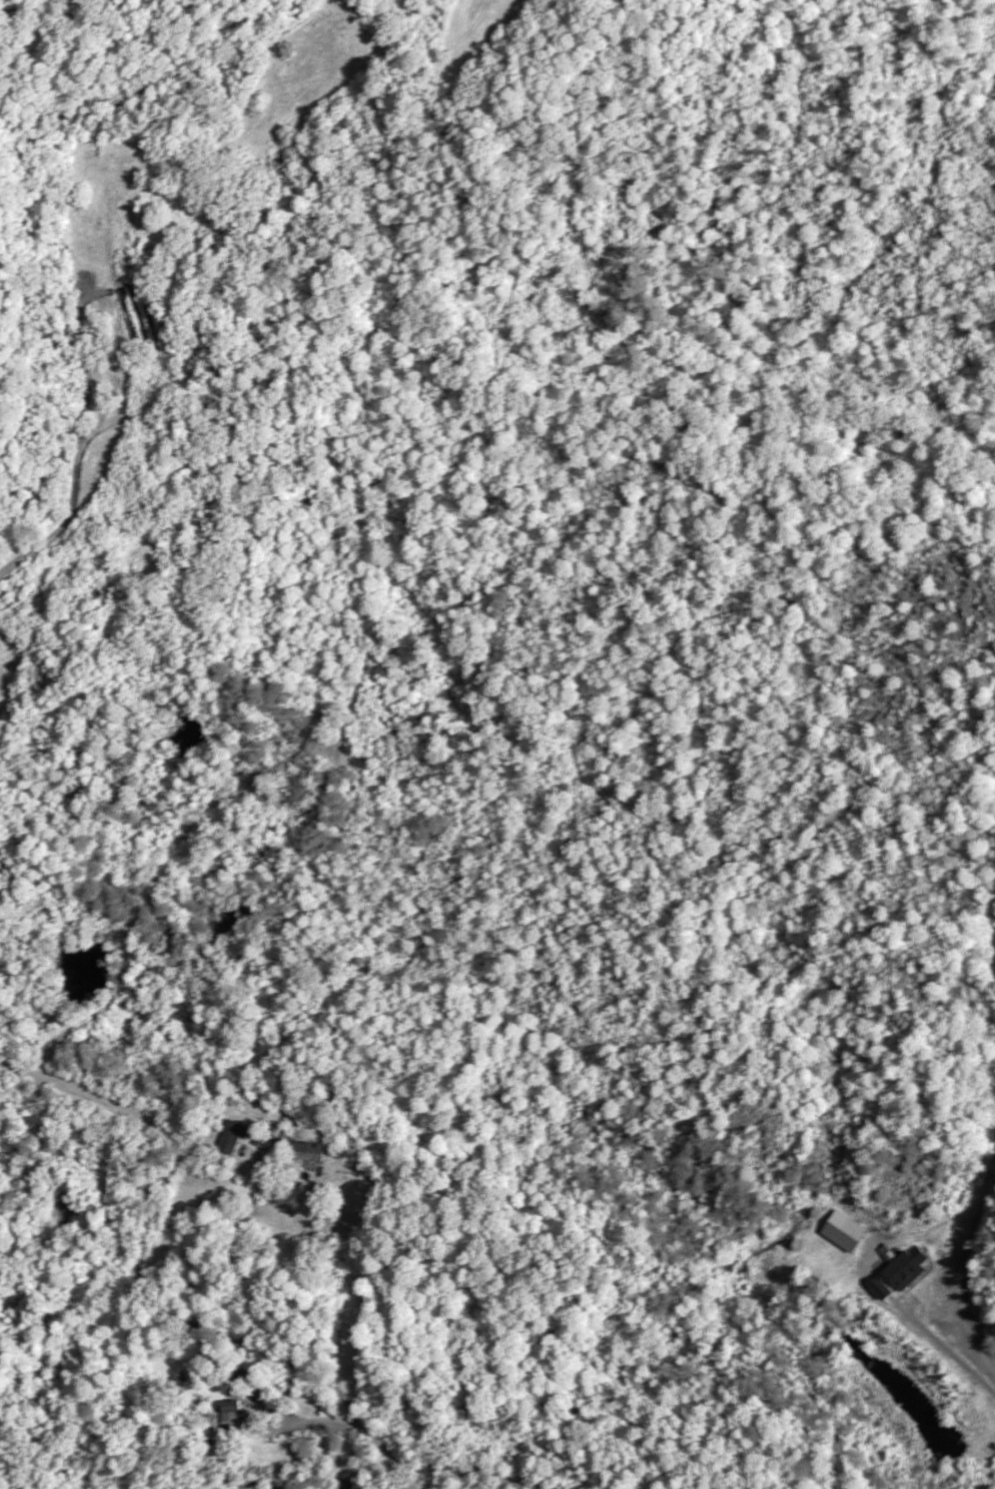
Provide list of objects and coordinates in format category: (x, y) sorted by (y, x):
building: (231, 1137)
building: (305, 1152)
building: (843, 1232)
building: (899, 1274)
road: (195, 1326)
building: (231, 1417)
road: (277, 1450)

